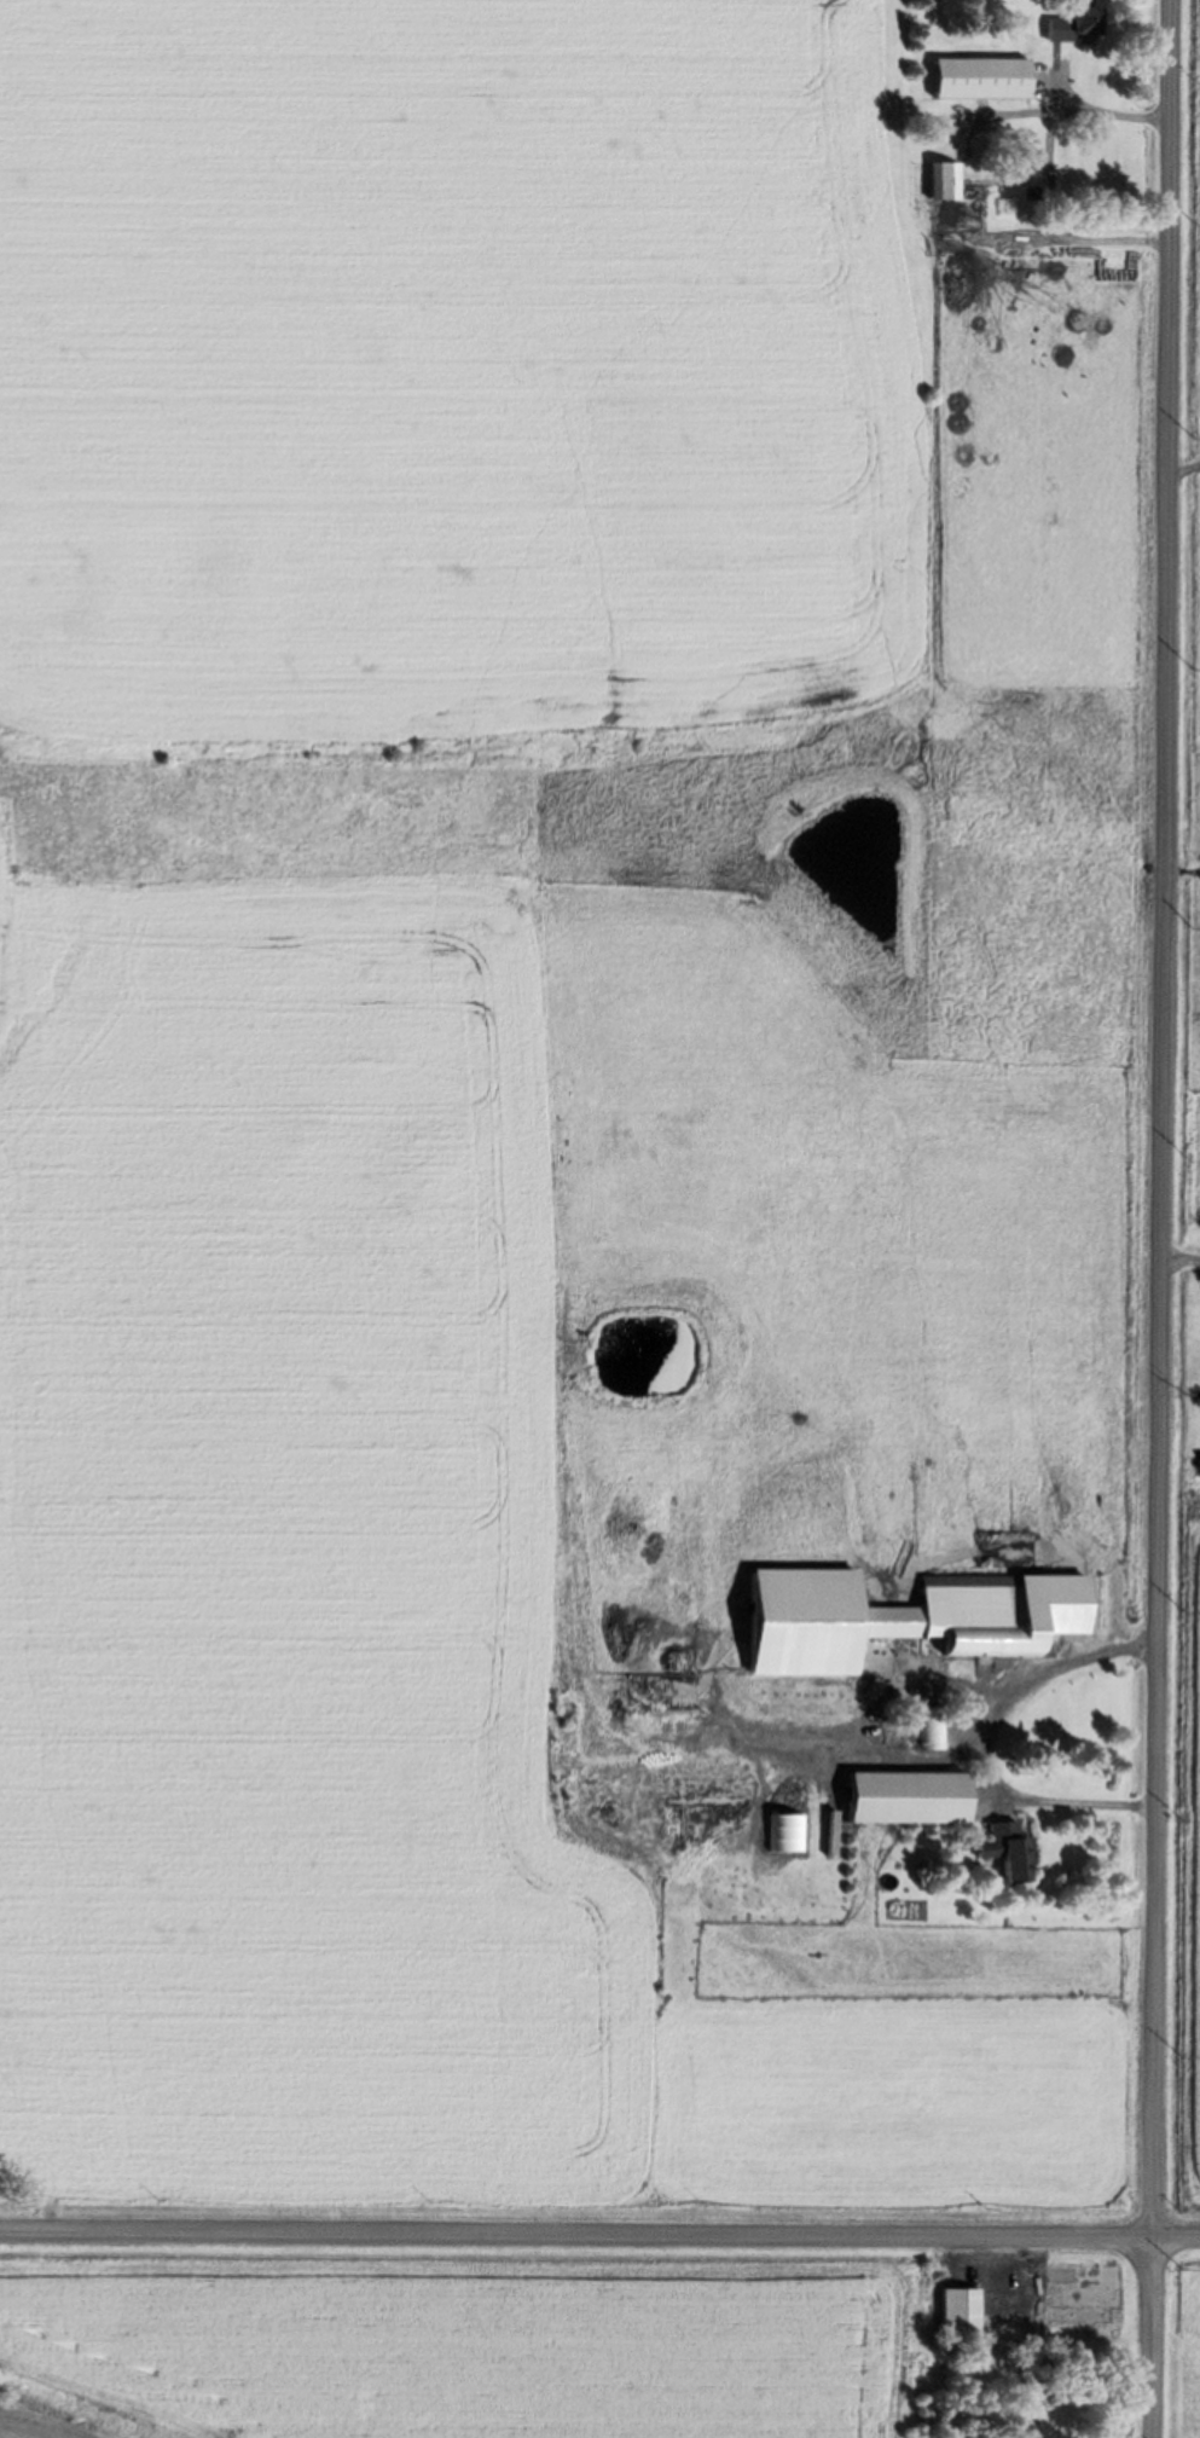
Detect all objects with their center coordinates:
building: (1074, 23)
building: (980, 76)
building: (943, 180)
road: (1165, 1218)
building: (1003, 1611)
building: (804, 1620)
building: (931, 1727)
building: (908, 1796)
building: (1011, 1848)
road: (599, 2233)
building: (1082, 2292)
building: (960, 2314)

